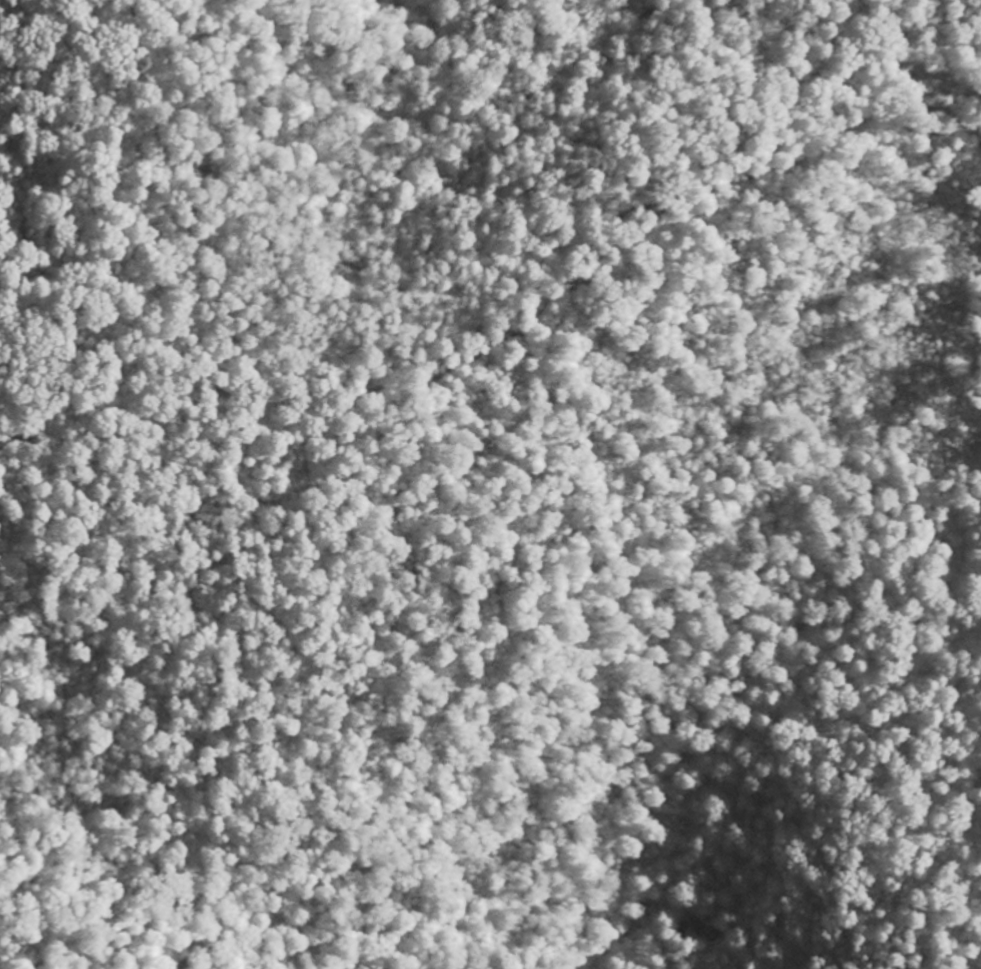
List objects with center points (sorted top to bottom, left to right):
road: (882, 699)

